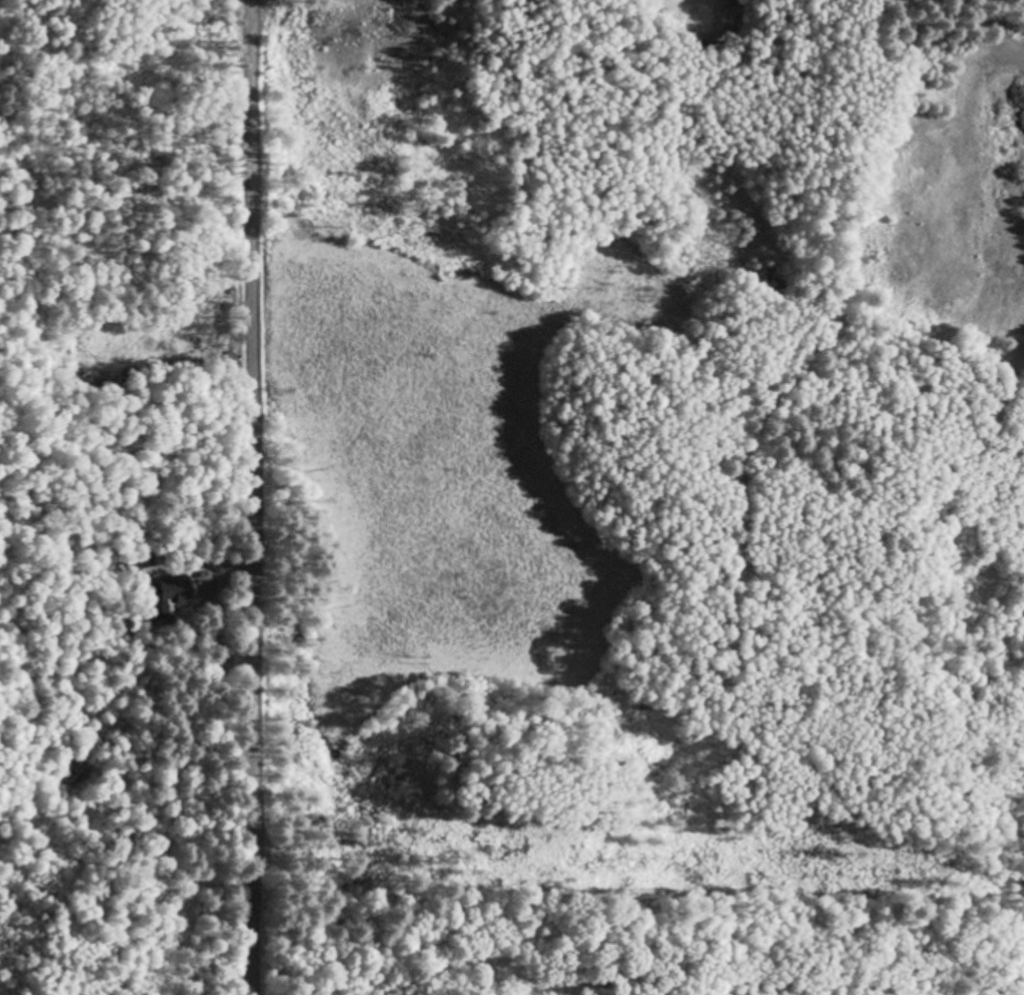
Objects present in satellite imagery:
road: (249, 497)

